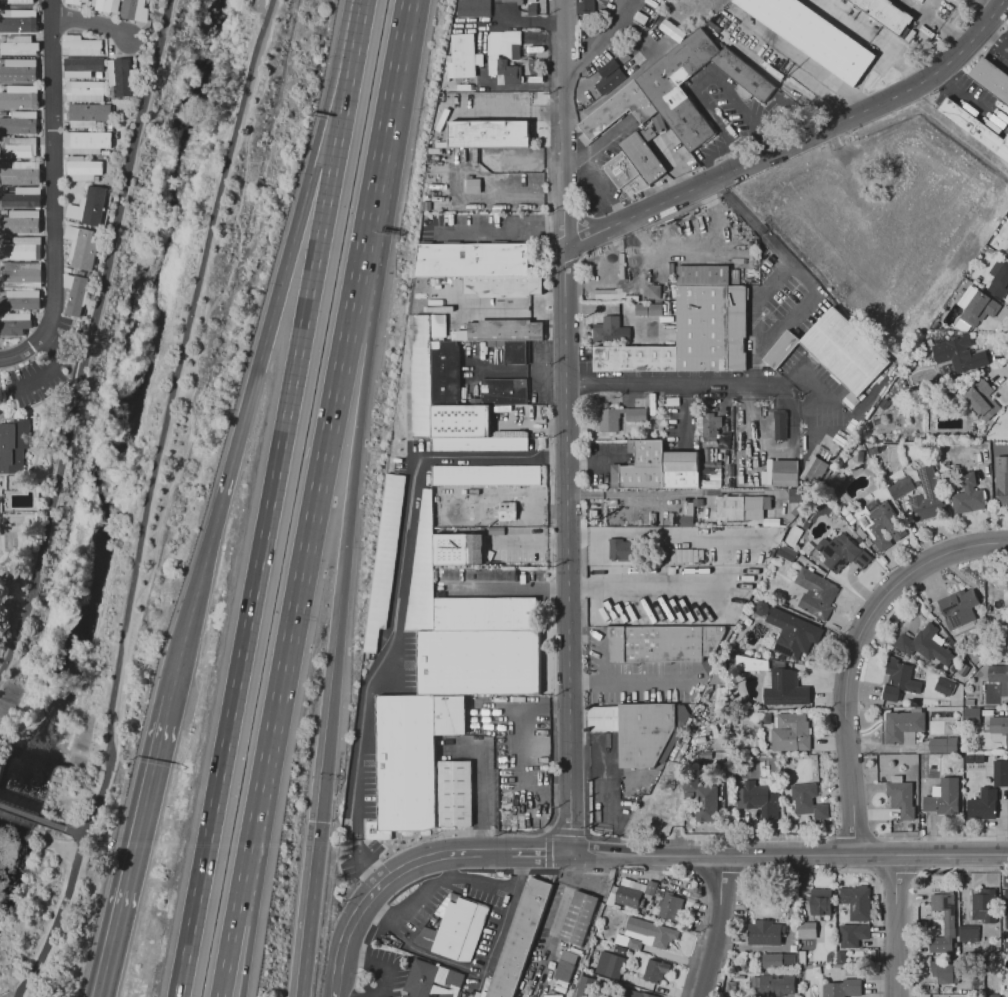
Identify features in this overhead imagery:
building: (17, 1)
building: (512, 1)
building: (74, 3)
road: (991, 4)
building: (103, 5)
building: (586, 7)
building: (475, 8)
road: (926, 8)
building: (128, 9)
building: (888, 15)
road: (842, 18)
road: (932, 23)
building: (18, 24)
road: (90, 25)
building: (1007, 27)
building: (671, 30)
building: (815, 37)
road: (994, 40)
building: (80, 41)
building: (20, 49)
building: (505, 57)
road: (897, 58)
building: (464, 62)
building: (82, 65)
building: (17, 73)
road: (348, 74)
road: (51, 76)
building: (115, 76)
building: (608, 76)
road: (394, 77)
building: (991, 79)
road: (837, 87)
building: (678, 91)
building: (82, 92)
building: (19, 100)
building: (88, 112)
road: (502, 113)
road: (744, 116)
road: (711, 117)
road: (561, 124)
building: (18, 126)
building: (975, 128)
building: (488, 135)
building: (88, 140)
road: (798, 142)
building: (15, 150)
road: (324, 157)
road: (707, 157)
building: (84, 165)
building: (636, 165)
building: (19, 173)
road: (599, 181)
building: (472, 185)
building: (19, 200)
building: (94, 204)
building: (19, 222)
road: (500, 230)
road: (365, 233)
building: (1007, 239)
road: (690, 246)
building: (84, 248)
building: (1007, 250)
building: (21, 252)
road: (782, 260)
building: (482, 267)
road: (52, 270)
building: (21, 277)
building: (999, 280)
building: (652, 291)
building: (74, 296)
building: (18, 298)
road: (509, 306)
building: (647, 309)
building: (975, 309)
road: (787, 320)
road: (206, 322)
building: (13, 326)
building: (694, 329)
building: (611, 330)
building: (505, 331)
road: (89, 336)
building: (782, 350)
building: (846, 351)
building: (515, 353)
building: (960, 355)
road: (51, 365)
building: (446, 372)
building: (420, 373)
parking lot: (31, 384)
road: (676, 384)
building: (504, 392)
building: (914, 392)
building: (981, 400)
road: (330, 418)
building: (619, 418)
road: (530, 423)
building: (779, 424)
building: (710, 427)
road: (242, 430)
building: (480, 444)
building: (14, 447)
road: (355, 451)
building: (945, 464)
building: (642, 465)
building: (682, 469)
building: (813, 470)
building: (487, 476)
building: (944, 476)
building: (787, 480)
building: (1001, 481)
building: (901, 488)
building: (484, 492)
building: (968, 494)
building: (927, 497)
road: (148, 502)
building: (743, 507)
building: (440, 510)
building: (505, 511)
building: (876, 522)
building: (466, 526)
road: (264, 527)
building: (861, 533)
road: (659, 536)
building: (859, 540)
building: (868, 542)
road: (1002, 542)
building: (459, 550)
road: (567, 551)
building: (629, 551)
building: (785, 552)
building: (842, 553)
building: (385, 559)
building: (422, 572)
building: (1007, 582)
road: (584, 583)
building: (816, 593)
road: (396, 605)
building: (959, 609)
building: (988, 609)
building: (486, 614)
building: (792, 633)
building: (665, 644)
building: (925, 645)
road: (850, 658)
building: (975, 658)
building: (479, 663)
building: (756, 664)
building: (934, 665)
parking lot: (639, 677)
building: (999, 678)
building: (899, 680)
road: (634, 681)
building: (945, 686)
building: (785, 689)
building: (969, 702)
road: (276, 707)
road: (329, 708)
building: (680, 715)
building: (451, 716)
building: (971, 716)
building: (764, 718)
building: (999, 726)
building: (903, 727)
building: (637, 731)
building: (791, 732)
building: (943, 745)
road: (520, 749)
building: (405, 767)
building: (1000, 773)
road: (479, 786)
building: (456, 795)
building: (901, 797)
building: (944, 798)
building: (703, 799)
building: (757, 799)
building: (808, 801)
building: (983, 804)
building: (786, 815)
building: (516, 816)
road: (32, 817)
traffic signals: (320, 821)
road: (72, 832)
road: (57, 843)
road: (138, 846)
road: (477, 852)
road: (540, 853)
road: (788, 855)
road: (445, 867)
road: (959, 870)
road: (428, 885)
building: (628, 895)
building: (821, 902)
building: (856, 902)
road: (362, 904)
building: (984, 905)
building: (670, 906)
building: (1006, 906)
road: (309, 909)
building: (944, 911)
parking lot: (405, 915)
building: (579, 918)
road: (556, 923)
road: (499, 924)
road: (716, 926)
road: (899, 926)
building: (454, 927)
building: (807, 930)
building: (650, 932)
building: (765, 933)
building: (969, 934)
building: (852, 935)
building: (519, 938)
road: (228, 941)
building: (628, 941)
road: (249, 942)
building: (619, 950)
road: (185, 952)
road: (673, 956)
building: (801, 958)
building: (841, 958)
building: (779, 960)
building: (609, 964)
road: (376, 966)
building: (565, 966)
building: (980, 966)
building: (744, 967)
building: (653, 970)
building: (947, 971)
building: (430, 980)
building: (777, 984)
building: (981, 986)
building: (730, 987)
building: (586, 988)
building: (843, 988)
building: (630, 993)
building: (992, 996)

